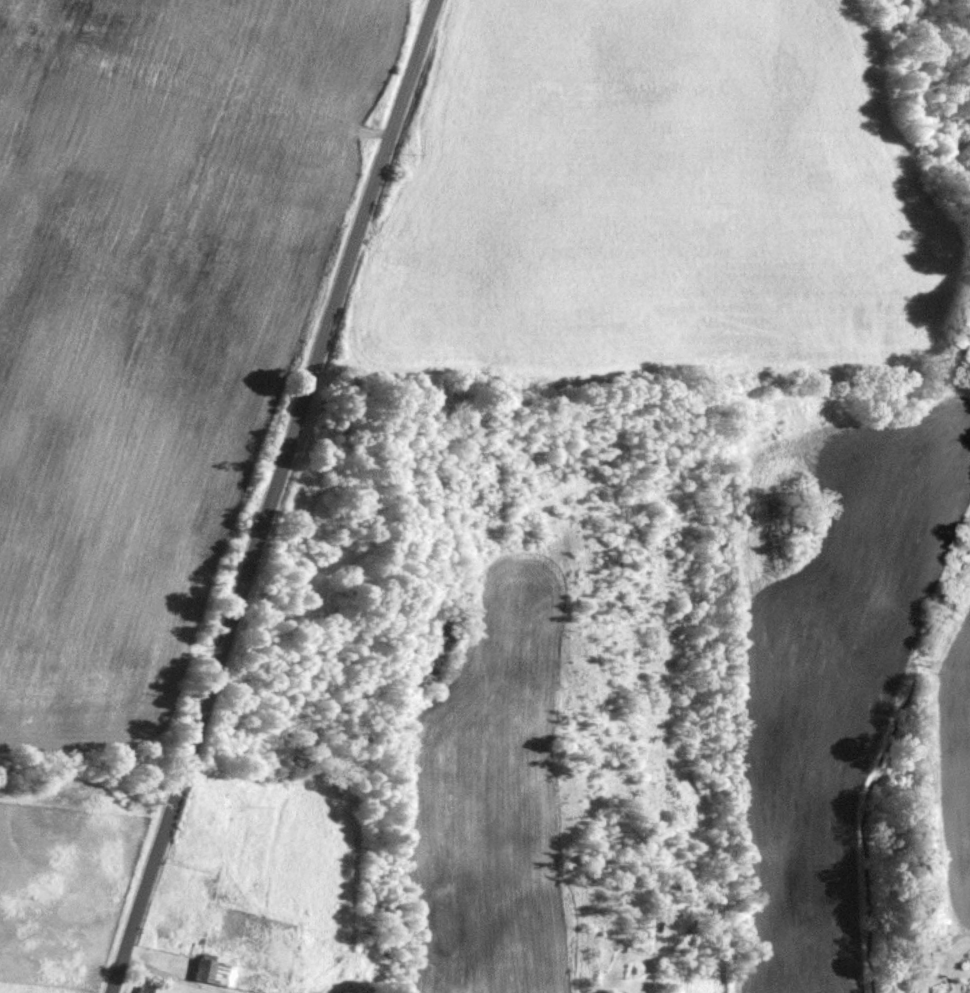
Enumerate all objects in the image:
road: (273, 496)
building: (215, 968)
building: (142, 992)
building: (969, 992)

